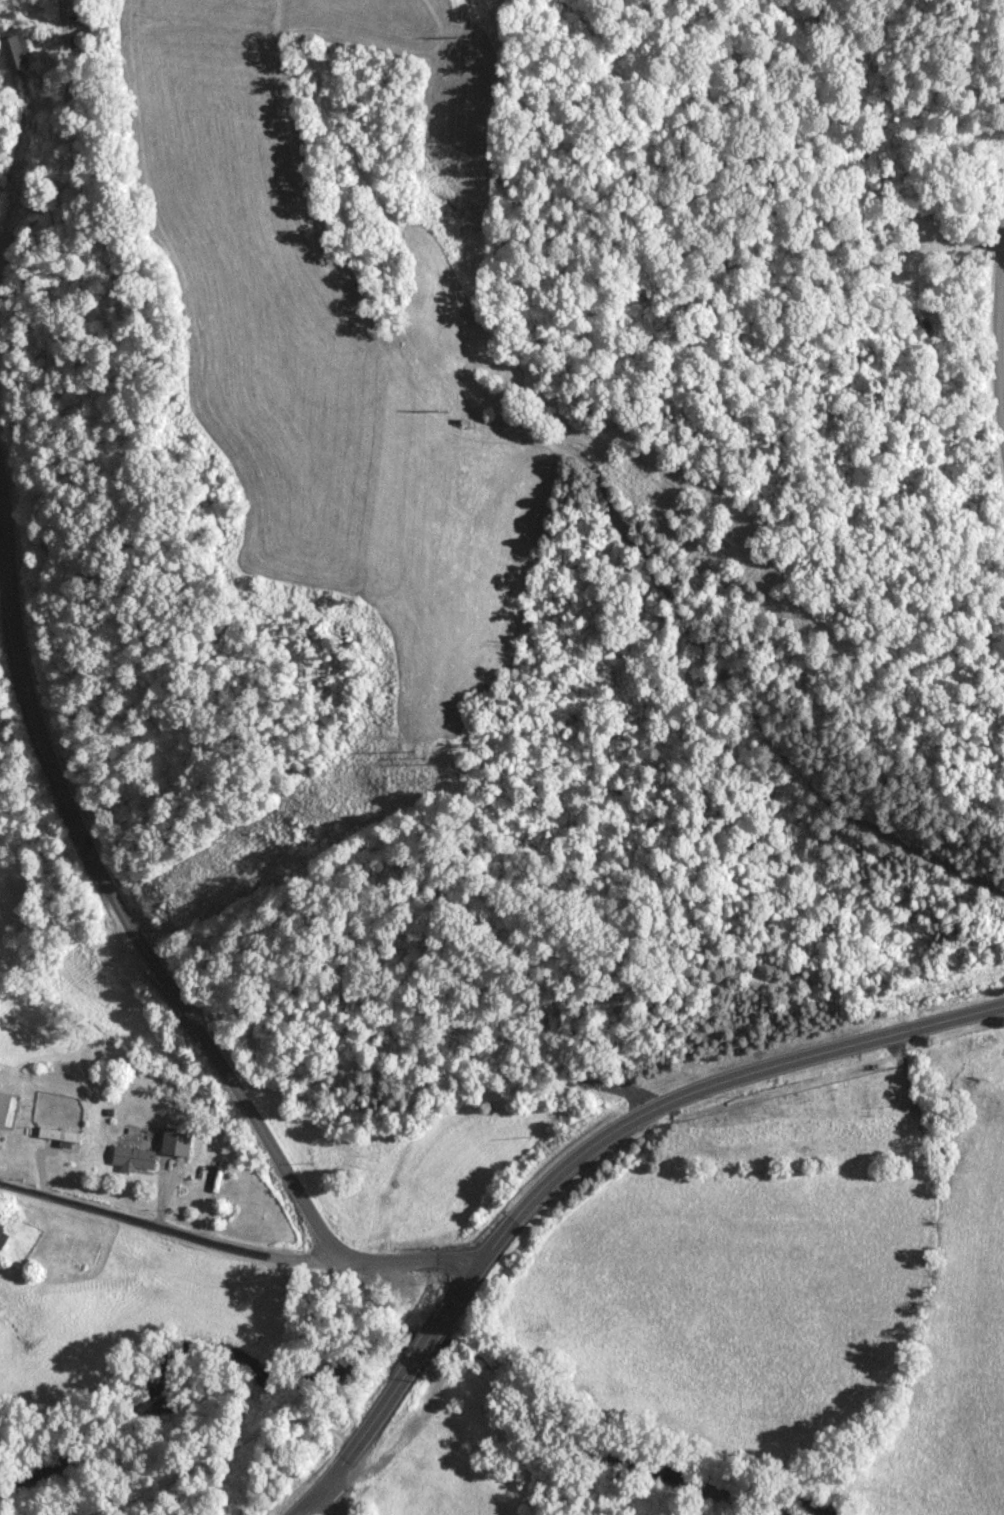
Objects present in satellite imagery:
road: (62, 30)
power tower: (466, 37)
building: (14, 51)
power tower: (447, 411)
power tower: (428, 757)
road: (109, 893)
road: (690, 1095)
building: (59, 1136)
building: (176, 1143)
building: (133, 1159)
building: (1, 1229)
road: (166, 1233)
road: (412, 1257)
river: (395, 1343)
road: (428, 1345)
road: (354, 1451)
road: (330, 1501)

